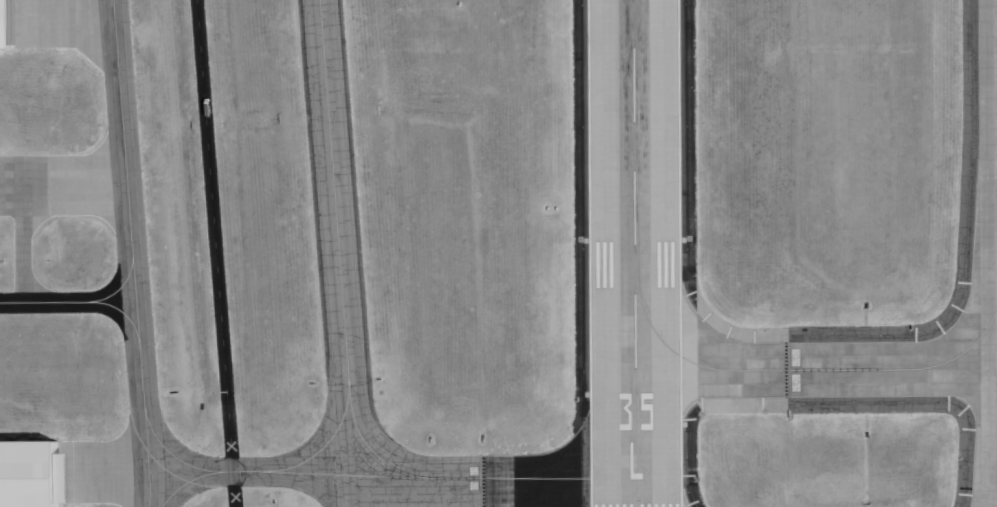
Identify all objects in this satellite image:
building: (7, 24)
airport apron: (52, 199)
road: (215, 253)
airport: (498, 253)
airport runway: (633, 253)
airport taxiway: (337, 257)
airport taxiway: (66, 302)
airport taxiway: (799, 370)
airport taxiway: (325, 443)
airport taxiway: (172, 456)
building: (28, 473)
airport taxiway: (147, 494)

